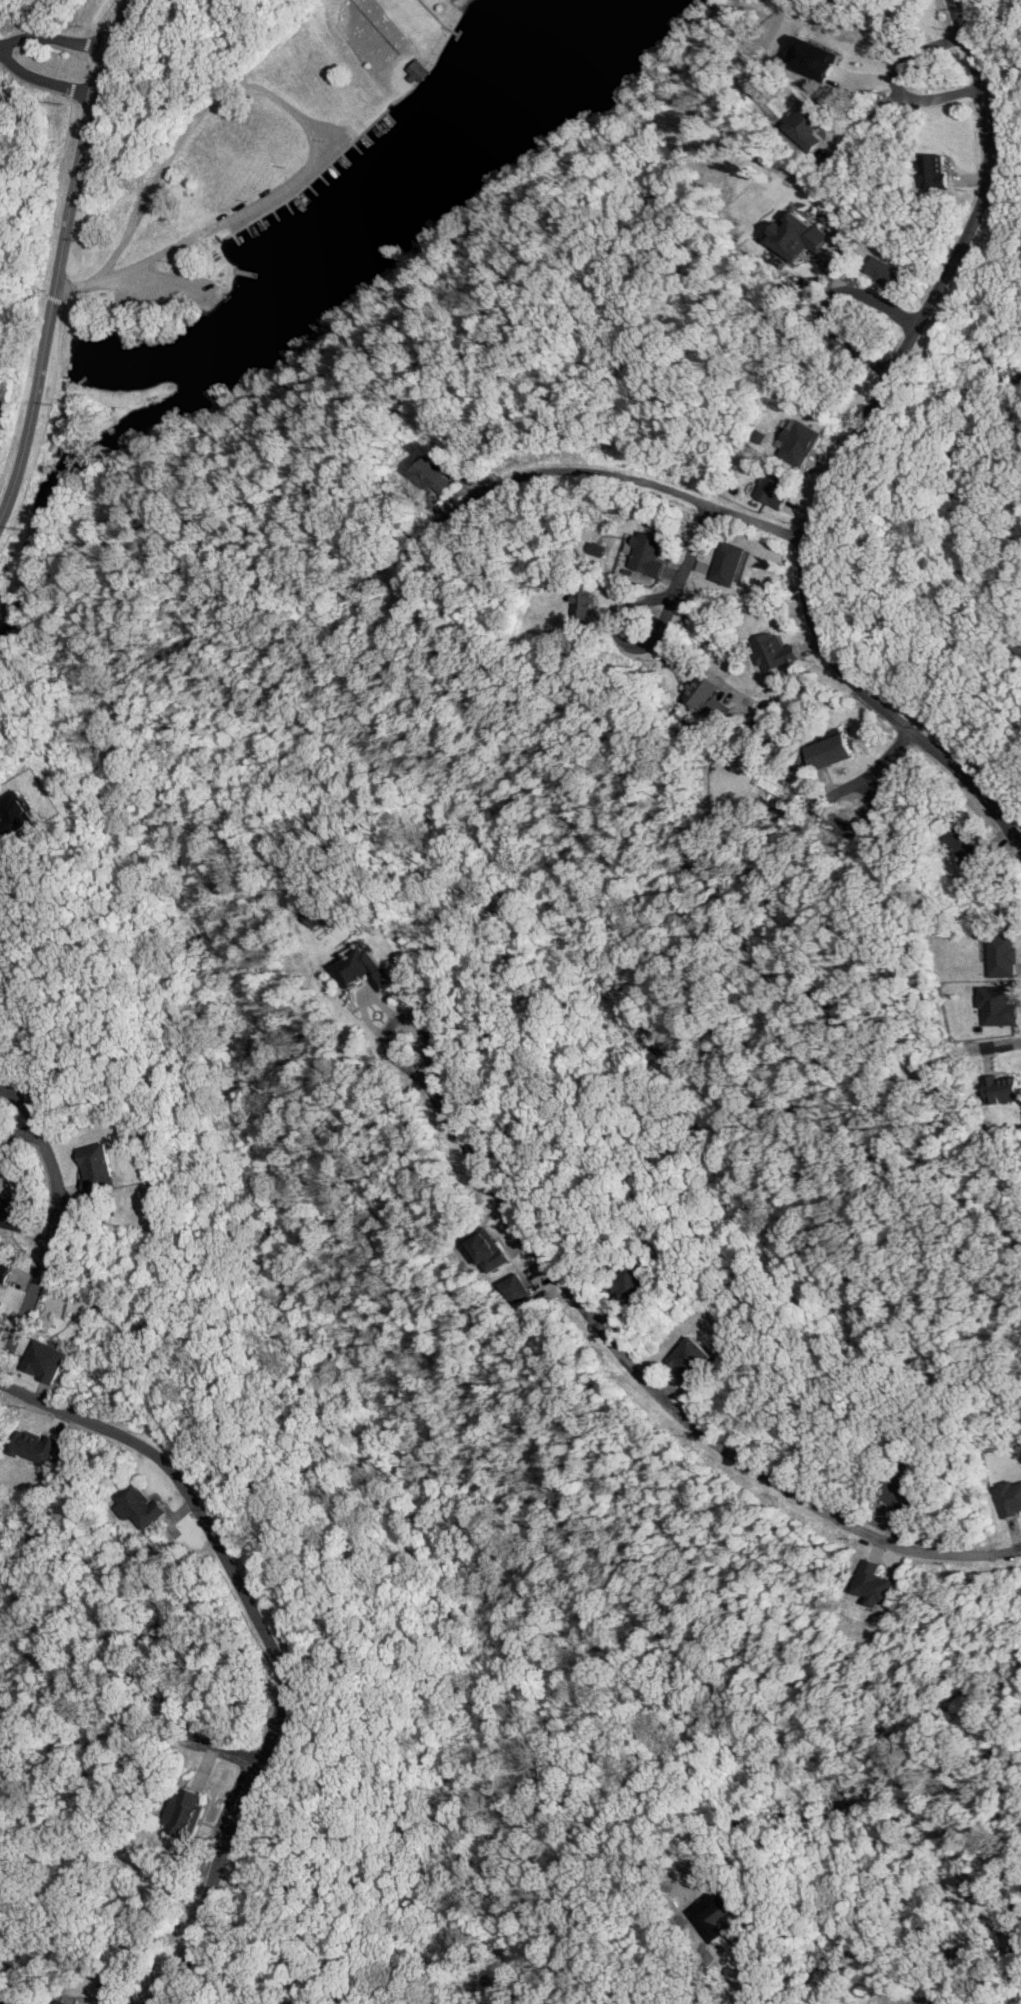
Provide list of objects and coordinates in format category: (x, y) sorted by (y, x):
road: (94, 16)
road: (55, 37)
road: (86, 42)
road: (1, 46)
building: (810, 59)
road: (79, 66)
road: (42, 77)
road: (899, 84)
road: (71, 88)
pier: (390, 117)
road: (303, 127)
pier: (379, 127)
building: (804, 127)
pier: (368, 137)
pier: (357, 148)
park: (203, 151)
road: (58, 155)
pier: (345, 158)
pier: (335, 168)
building: (932, 171)
road: (313, 178)
pier: (323, 179)
pier: (312, 189)
pier: (301, 199)
pier: (289, 207)
pier: (276, 214)
pier: (264, 222)
road: (1, 226)
road: (230, 227)
pier: (251, 230)
building: (795, 236)
pier: (238, 239)
road: (61, 259)
road: (14, 264)
pier: (245, 272)
building: (886, 273)
road: (176, 280)
parking lot: (165, 291)
road: (56, 299)
road: (828, 306)
road: (43, 429)
building: (796, 442)
road: (852, 447)
road: (577, 468)
building: (432, 474)
building: (772, 488)
building: (646, 553)
building: (727, 563)
road: (684, 571)
building: (583, 605)
road: (10, 617)
road: (619, 640)
building: (773, 651)
building: (702, 692)
building: (827, 751)
road: (881, 766)
building: (14, 814)
building: (965, 845)
building: (316, 915)
building: (1001, 955)
building: (361, 969)
building: (997, 1006)
road: (950, 1056)
building: (1001, 1089)
building: (96, 1169)
road: (54, 1237)
building: (485, 1249)
building: (5, 1269)
building: (628, 1284)
building: (515, 1289)
building: (689, 1359)
building: (43, 1361)
road: (287, 1373)
road: (652, 1385)
building: (34, 1447)
building: (898, 1494)
building: (1008, 1498)
building: (137, 1506)
building: (875, 1584)
road: (273, 1644)
road: (201, 1738)
building: (182, 1812)
building: (60, 2002)

